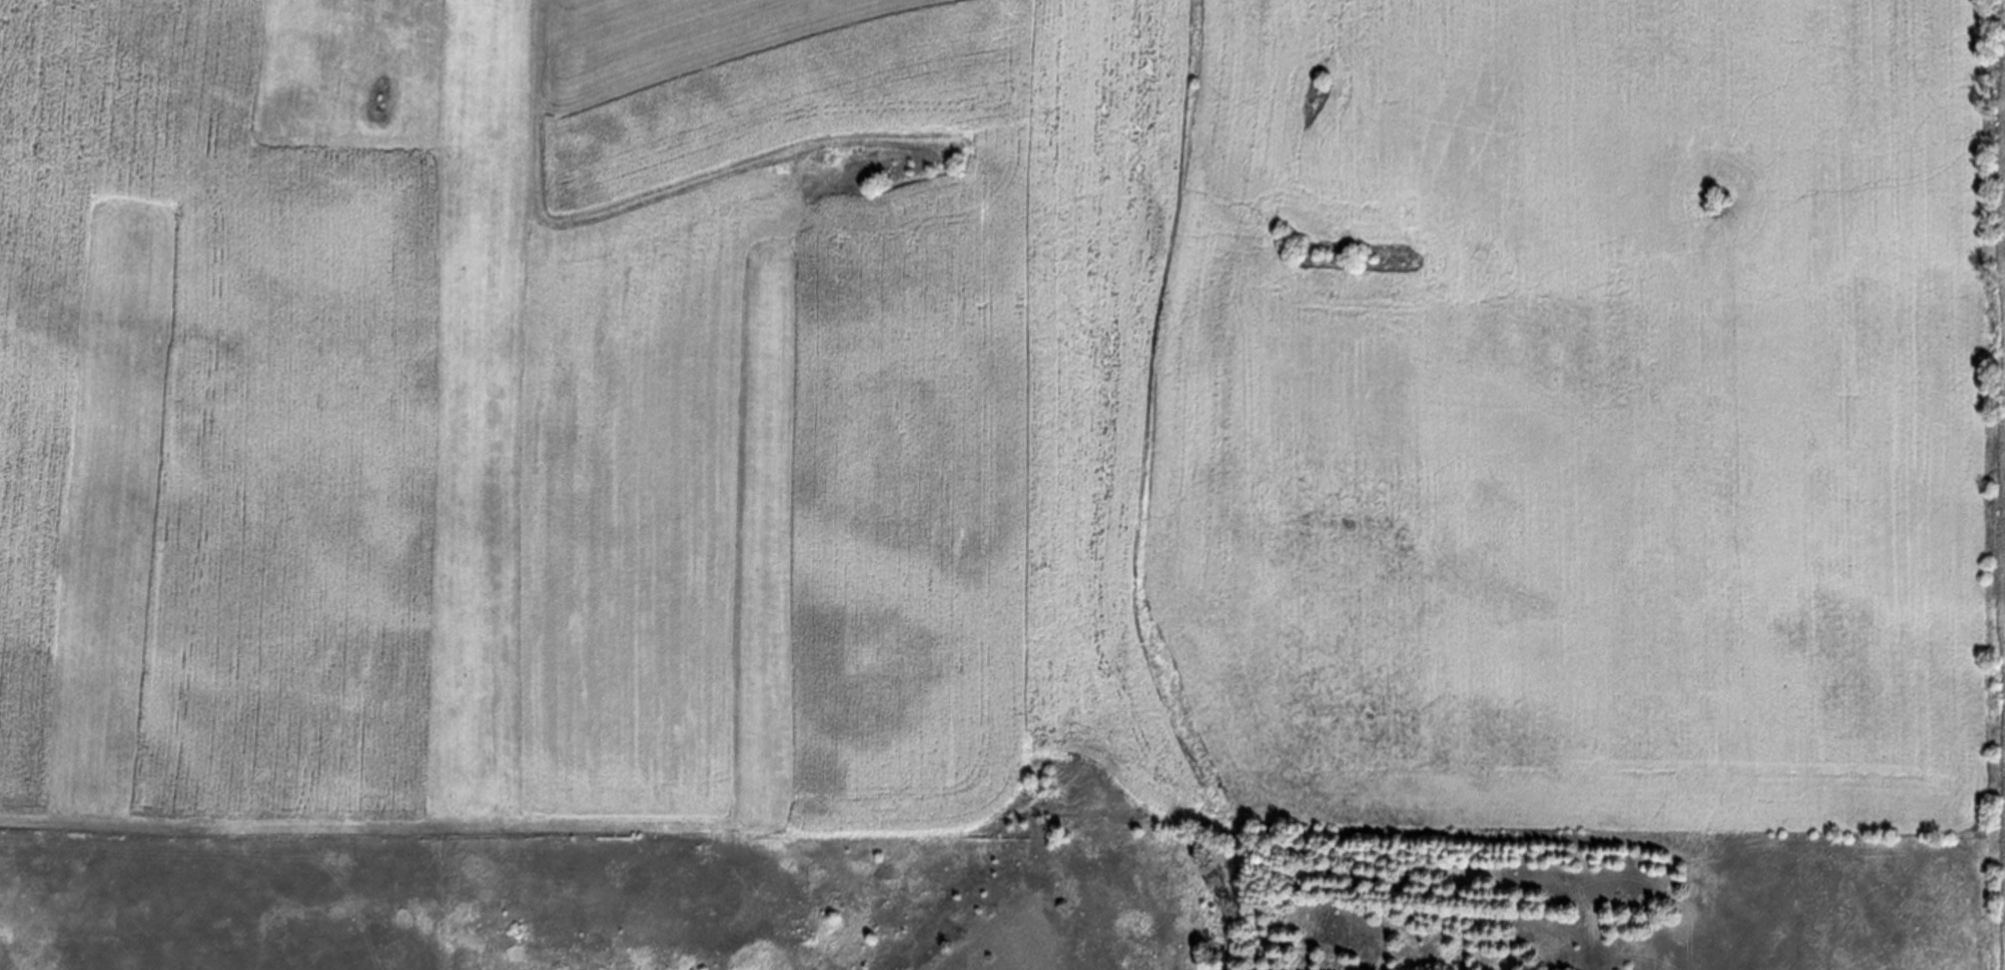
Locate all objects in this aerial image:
road: (82, 56)
road: (537, 108)

